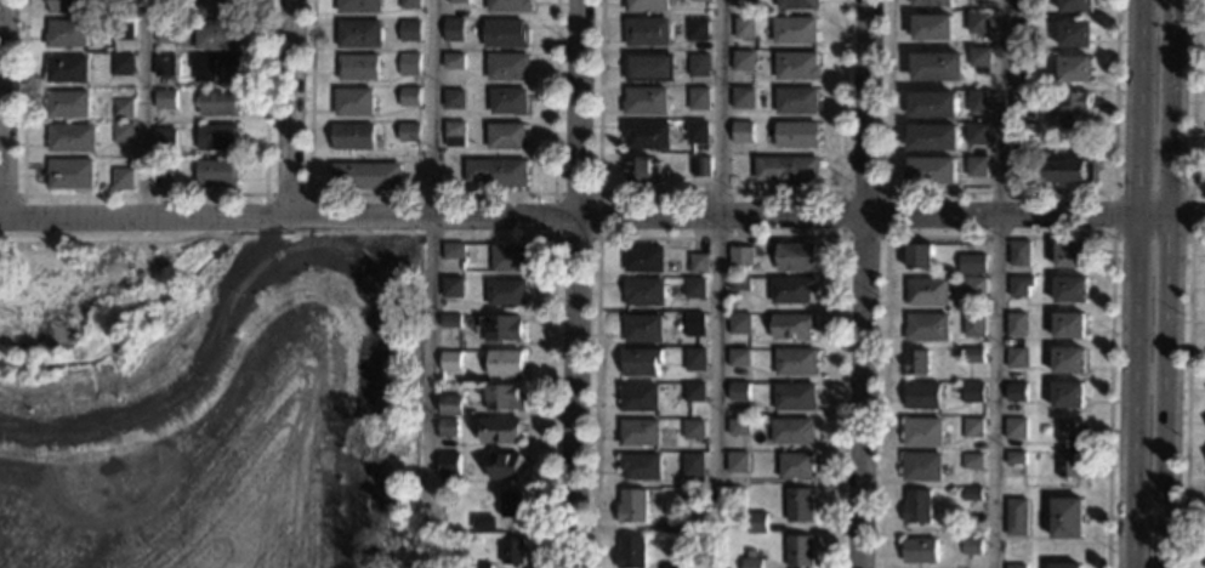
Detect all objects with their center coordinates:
building: (703, 0)
building: (744, 0)
building: (459, 1)
building: (932, 2)
building: (410, 4)
building: (646, 5)
building: (798, 5)
building: (1024, 5)
building: (69, 6)
building: (359, 6)
building: (510, 6)
building: (1076, 6)
building: (167, 7)
building: (220, 7)
building: (978, 23)
building: (744, 28)
building: (932, 28)
building: (697, 29)
building: (124, 30)
building: (455, 30)
building: (795, 30)
building: (1023, 30)
building: (410, 32)
building: (647, 32)
building: (166, 33)
building: (67, 34)
building: (360, 34)
building: (506, 34)
building: (1075, 34)
building: (217, 35)
building: (979, 57)
building: (743, 59)
building: (454, 61)
building: (123, 64)
building: (410, 64)
building: (1023, 64)
building: (699, 66)
building: (797, 66)
building: (166, 67)
building: (508, 67)
building: (649, 67)
building: (936, 67)
building: (215, 68)
building: (359, 68)
building: (68, 69)
building: (1074, 69)
building: (410, 96)
building: (743, 97)
building: (699, 98)
building: (166, 100)
building: (455, 100)
building: (644, 101)
building: (796, 101)
building: (978, 101)
building: (1023, 101)
building: (354, 102)
building: (510, 102)
building: (218, 103)
road: (1192, 103)
building: (69, 104)
building: (932, 104)
building: (124, 108)
road: (5, 109)
road: (147, 109)
road: (291, 109)
building: (1075, 110)
building: (124, 132)
building: (410, 132)
building: (698, 132)
building: (743, 132)
building: (455, 134)
building: (978, 134)
building: (647, 135)
building: (797, 135)
building: (354, 136)
building: (507, 136)
building: (72, 137)
building: (217, 137)
building: (933, 137)
building: (165, 138)
building: (701, 166)
building: (978, 167)
building: (642, 170)
building: (789, 170)
building: (932, 171)
building: (1070, 171)
building: (217, 172)
building: (498, 172)
building: (70, 175)
building: (368, 176)
building: (165, 177)
building: (123, 178)
road: (1000, 192)
road: (432, 193)
road: (718, 193)
road: (1190, 193)
road: (142, 194)
road: (11, 195)
road: (309, 198)
road: (602, 220)
road: (718, 237)
road: (885, 237)
road: (999, 237)
road: (596, 238)
road: (720, 249)
building: (768, 250)
building: (453, 251)
building: (1019, 254)
building: (1072, 255)
building: (740, 256)
building: (920, 256)
building: (796, 257)
building: (511, 260)
building: (643, 260)
road: (432, 261)
building: (698, 263)
building: (972, 263)
road: (573, 283)
road: (860, 283)
road: (997, 283)
road: (1135, 283)
road: (1164, 283)
building: (739, 284)
building: (1019, 285)
building: (451, 288)
building: (694, 288)
building: (974, 288)
building: (792, 290)
building: (1070, 290)
building: (927, 291)
building: (507, 292)
building: (643, 292)
building: (450, 322)
building: (740, 323)
building: (694, 324)
building: (974, 325)
building: (1017, 325)
building: (1069, 325)
building: (792, 326)
building: (927, 328)
building: (501, 329)
building: (643, 329)
road: (220, 337)
road: (551, 341)
building: (974, 356)
building: (739, 358)
building: (1017, 358)
building: (695, 359)
building: (1069, 360)
building: (450, 362)
building: (642, 362)
building: (795, 362)
building: (917, 363)
building: (505, 364)
road: (365, 392)
building: (694, 392)
building: (739, 392)
building: (973, 392)
building: (1018, 392)
road: (1187, 394)
building: (923, 396)
building: (1068, 396)
building: (794, 397)
building: (504, 398)
building: (640, 398)
park: (209, 404)
building: (451, 405)
building: (738, 427)
building: (448, 428)
building: (973, 428)
building: (1016, 428)
building: (693, 430)
building: (501, 431)
building: (792, 431)
building: (1070, 431)
building: (640, 432)
building: (923, 432)
building: (1016, 459)
building: (973, 461)
building: (737, 462)
building: (693, 465)
building: (506, 466)
building: (641, 466)
building: (796, 466)
building: (923, 466)
building: (1069, 466)
building: (450, 467)
building: (972, 493)
building: (511, 504)
building: (632, 505)
building: (798, 505)
building: (919, 506)
building: (1017, 517)
building: (1067, 518)
building: (485, 523)
building: (757, 523)
building: (673, 527)
building: (971, 546)
building: (513, 551)
building: (800, 551)
building: (921, 551)
building: (631, 552)
building: (752, 563)
building: (482, 566)
building: (672, 566)
building: (1014, 566)
building: (1064, 566)

